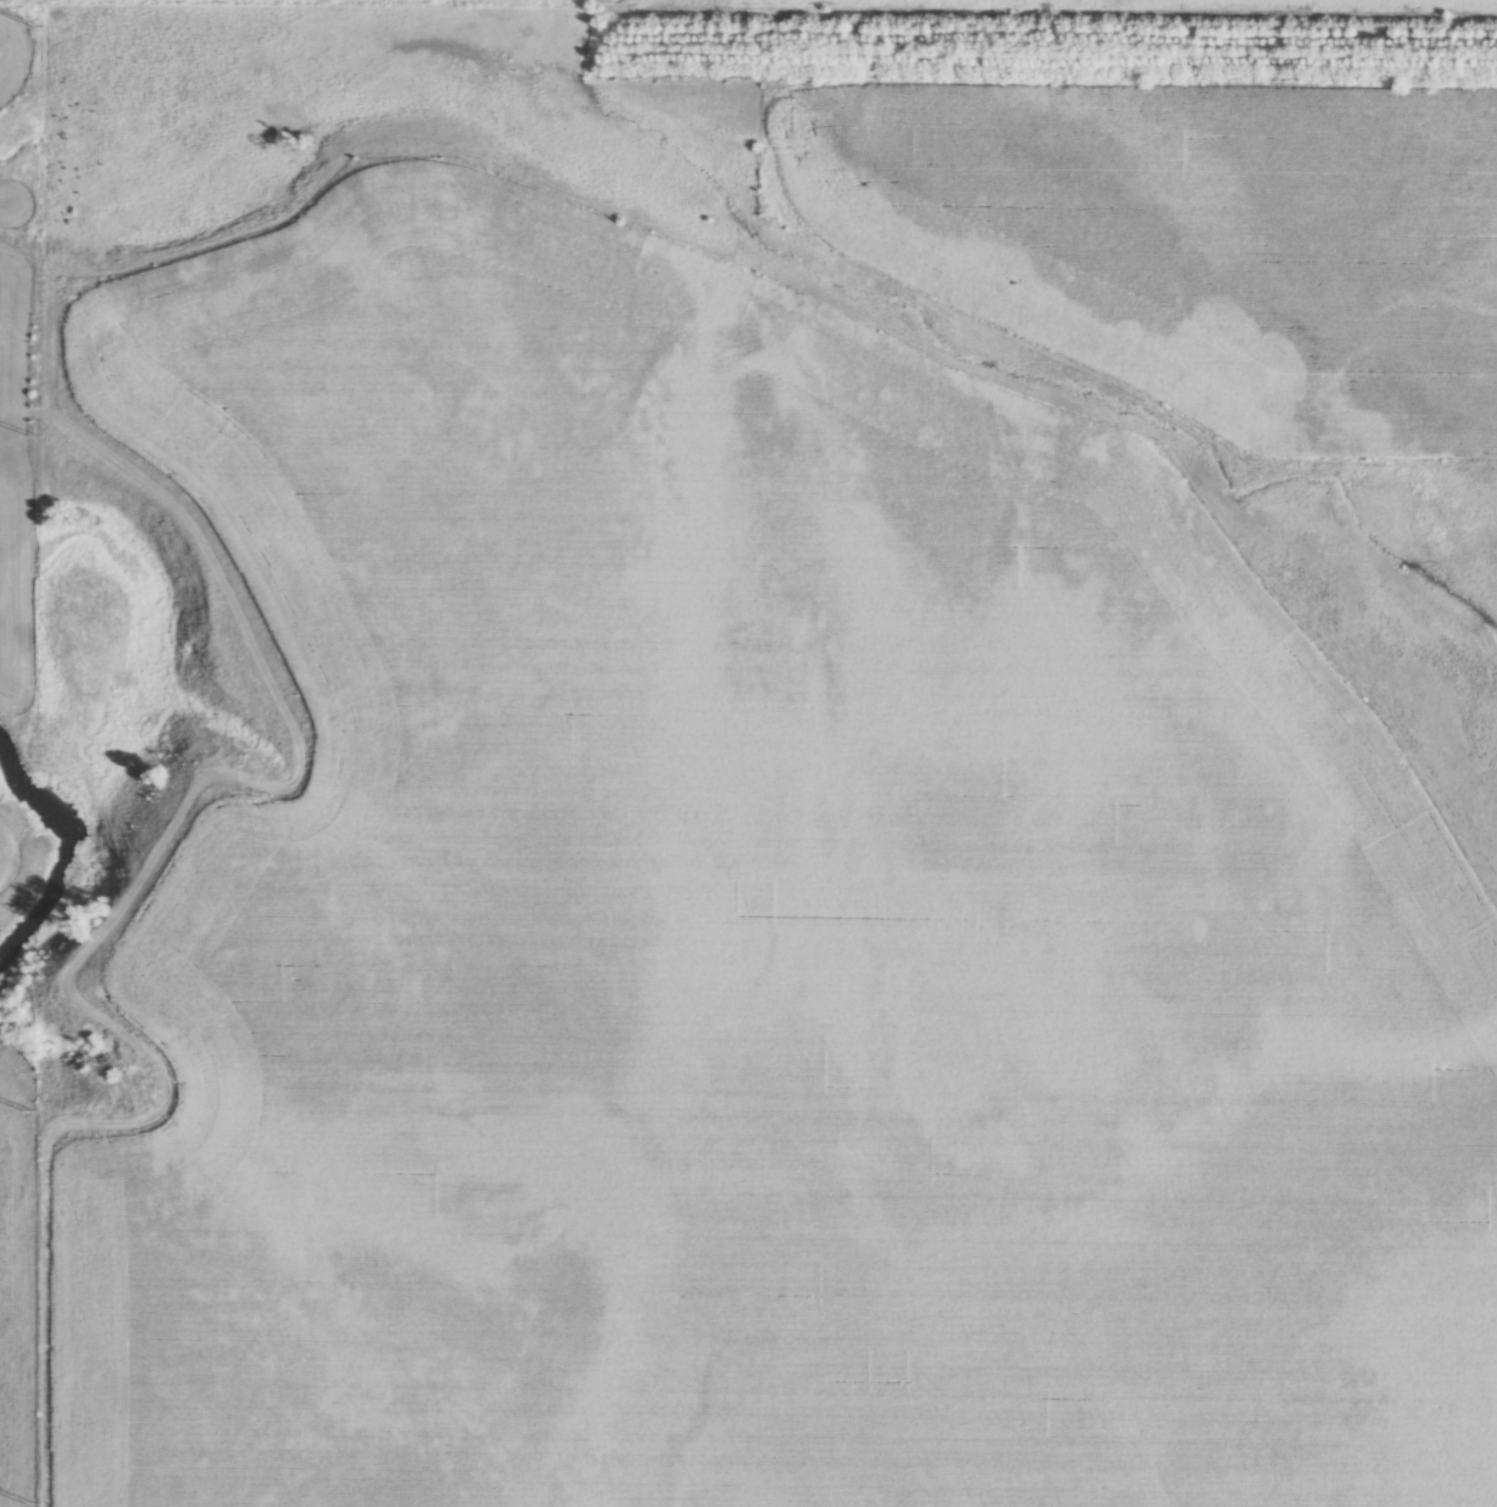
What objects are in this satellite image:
power tower: (38, 27)
crop: (1191, 242)
power tower: (35, 437)
power tower: (30, 1112)
power tower: (30, 1504)

